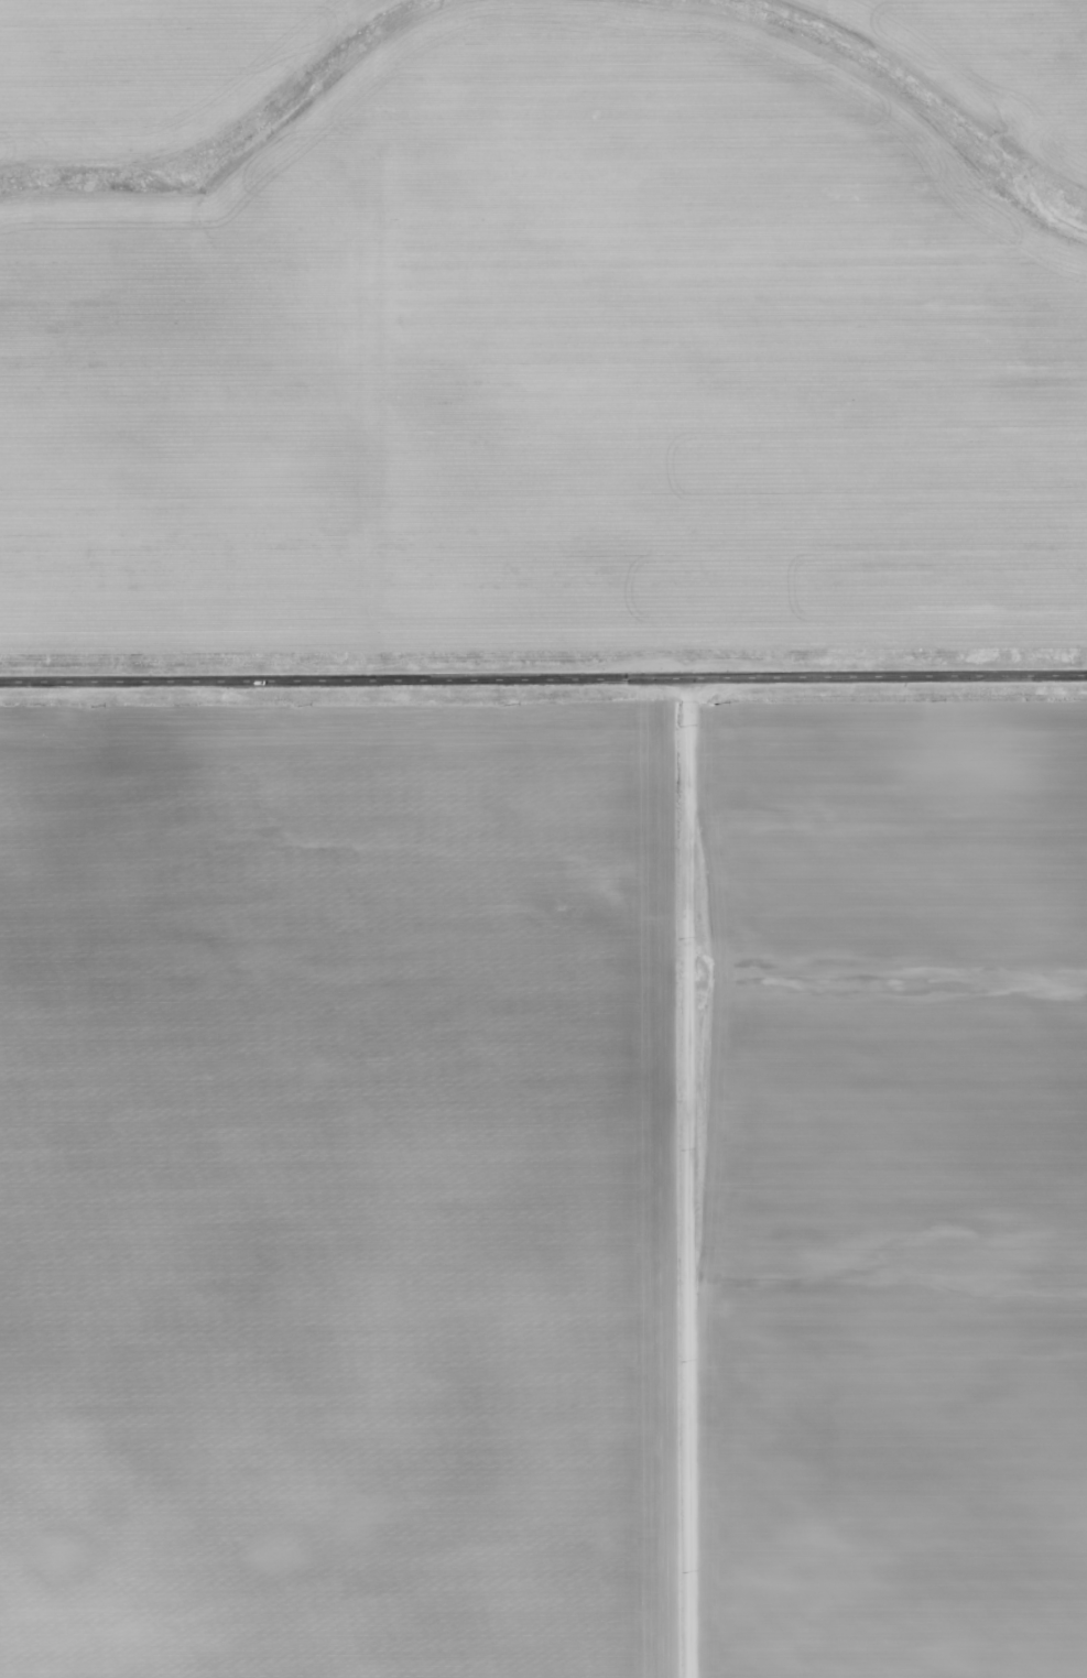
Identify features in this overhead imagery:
road: (543, 678)
road: (687, 1177)

